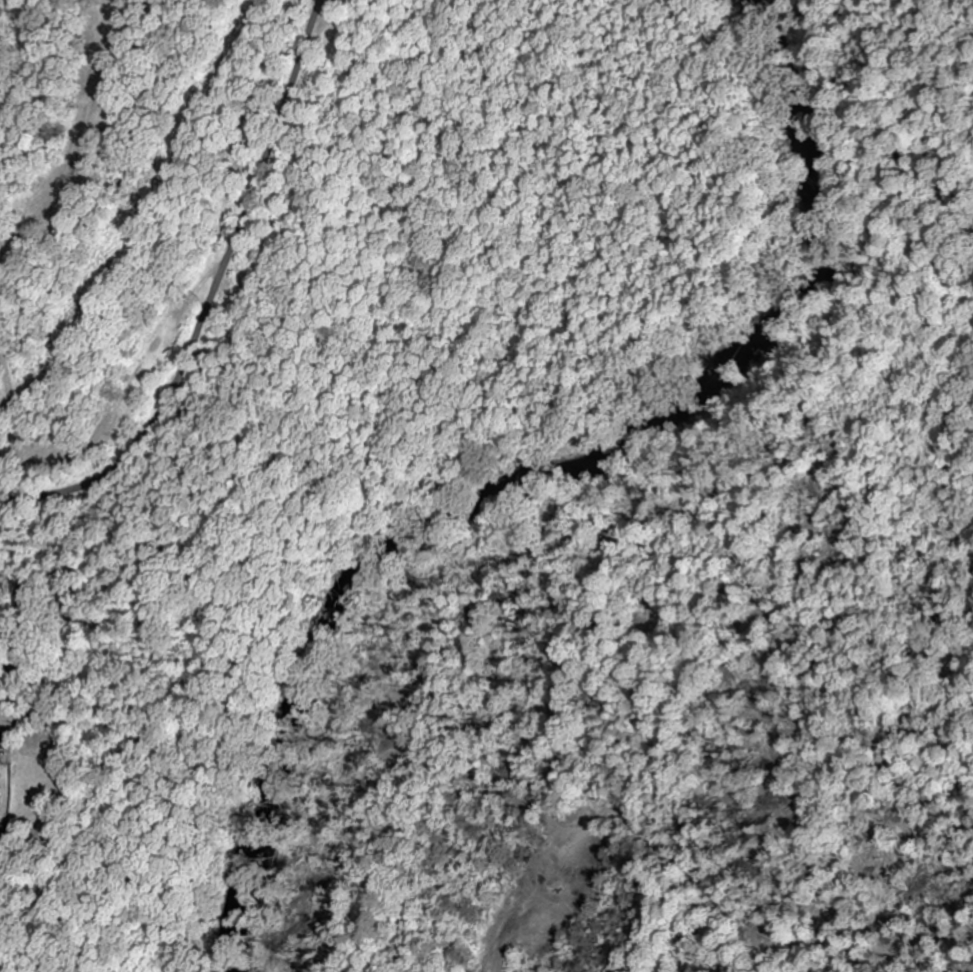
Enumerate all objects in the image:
road: (213, 301)

